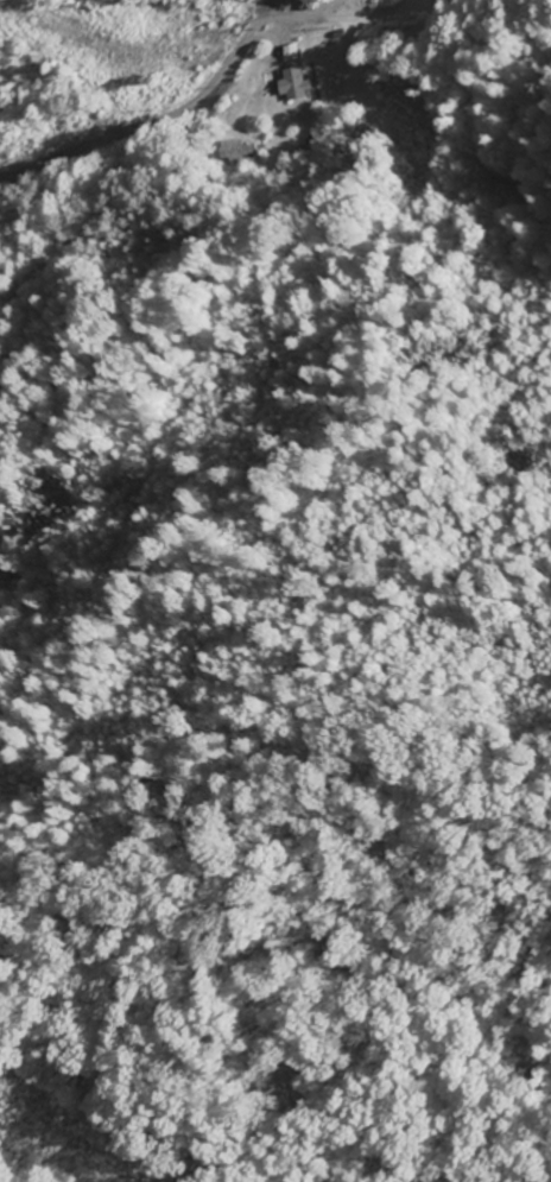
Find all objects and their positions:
building: (297, 5)
building: (305, 6)
road: (368, 17)
building: (337, 34)
building: (290, 52)
building: (294, 84)
road: (163, 120)
building: (317, 141)
building: (242, 152)
building: (303, 153)

